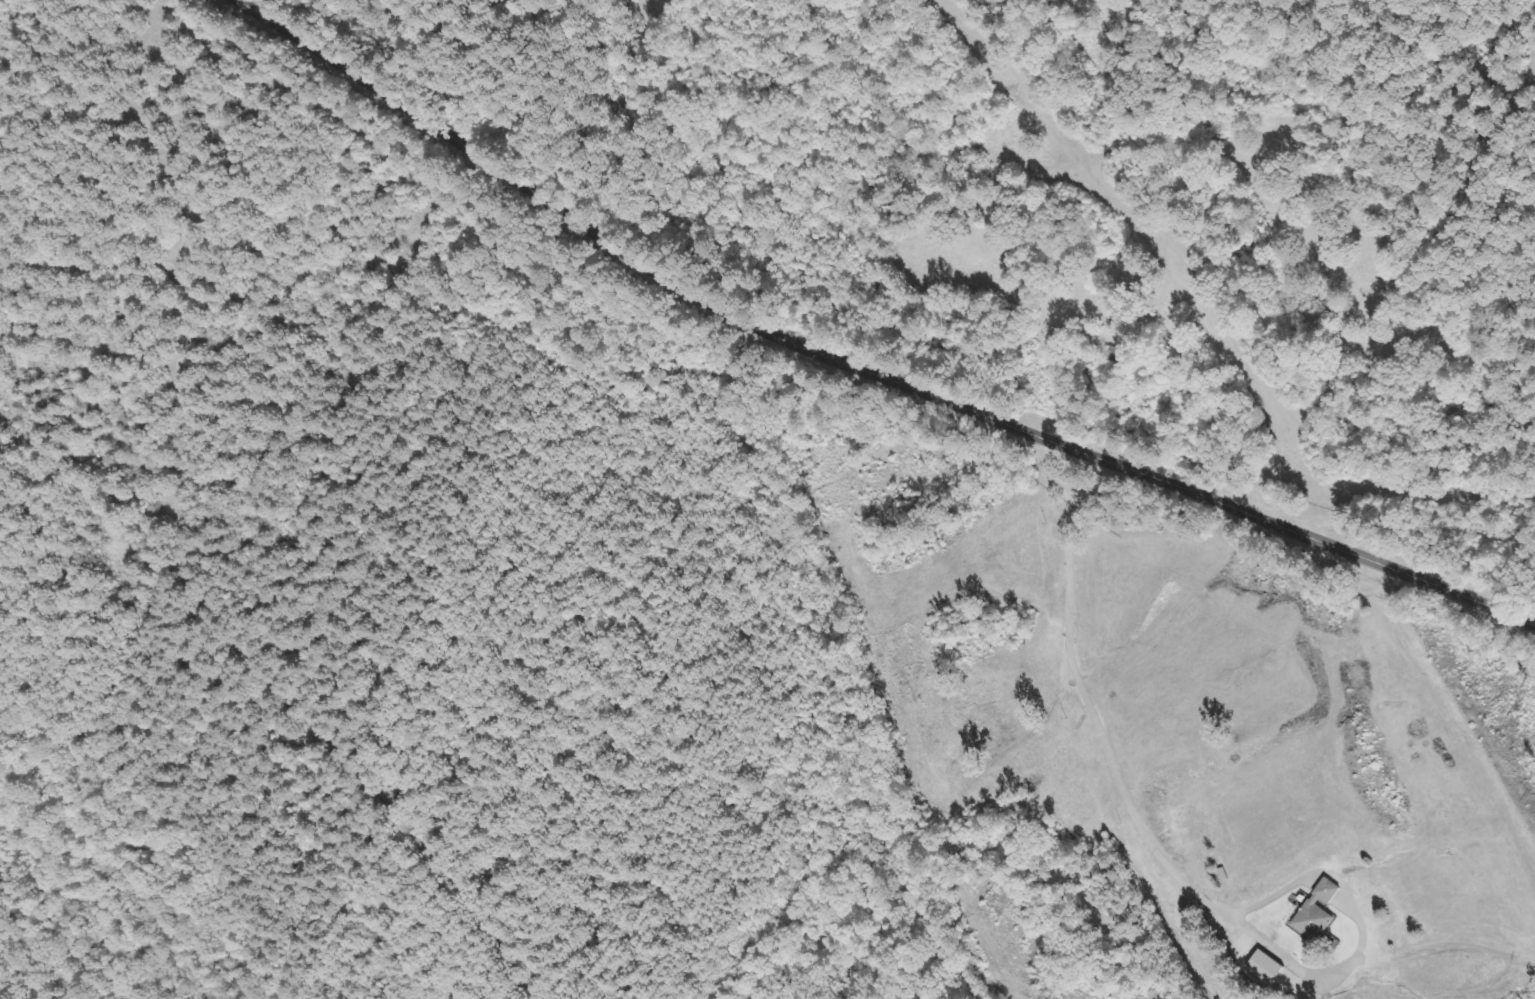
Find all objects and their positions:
road: (853, 371)
building: (1319, 912)
building: (1268, 968)

